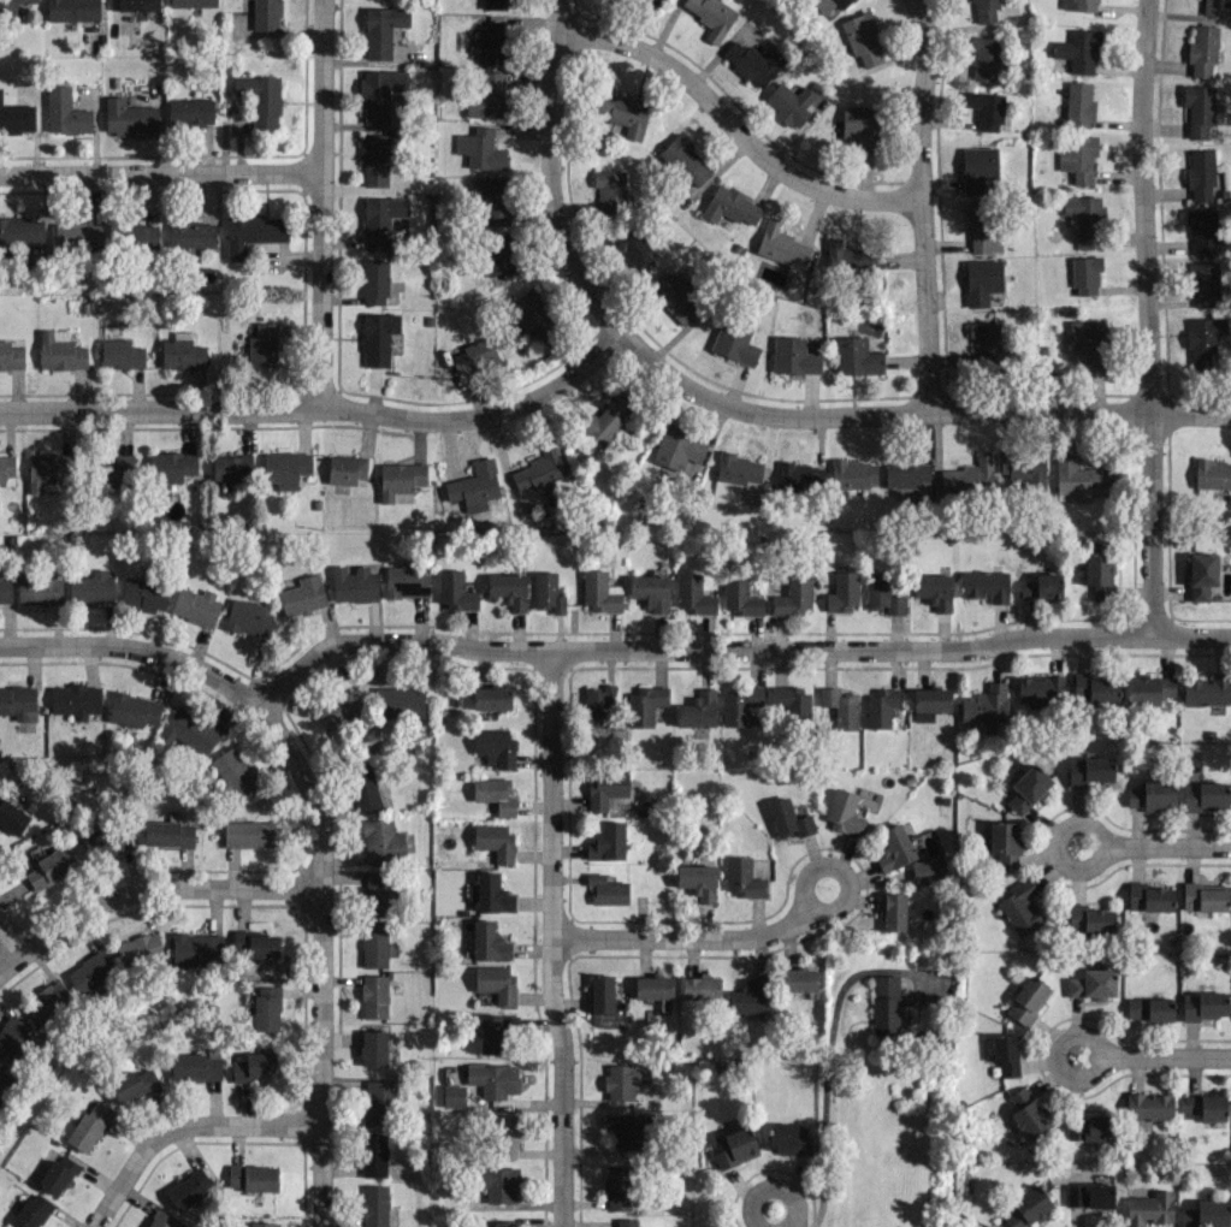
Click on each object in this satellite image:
building: (655, 1)
building: (193, 2)
building: (495, 4)
building: (830, 4)
building: (137, 5)
building: (1078, 5)
building: (10, 6)
building: (1211, 6)
building: (72, 10)
building: (984, 10)
building: (266, 14)
building: (711, 16)
building: (381, 29)
building: (860, 37)
building: (495, 41)
building: (1202, 49)
building: (1078, 51)
building: (983, 55)
building: (751, 61)
building: (486, 95)
building: (380, 96)
building: (260, 99)
building: (789, 102)
building: (1079, 105)
building: (986, 108)
building: (1199, 108)
building: (64, 111)
building: (190, 111)
building: (622, 112)
building: (128, 115)
building: (17, 117)
road: (732, 126)
building: (858, 126)
building: (480, 148)
building: (377, 156)
building: (1078, 158)
building: (682, 159)
building: (977, 167)
road: (548, 172)
road: (160, 173)
building: (1200, 173)
building: (610, 188)
building: (492, 197)
road: (320, 203)
road: (919, 203)
building: (730, 206)
building: (380, 219)
building: (1085, 219)
building: (983, 225)
building: (22, 230)
building: (253, 231)
building: (1202, 231)
building: (77, 233)
building: (191, 233)
building: (132, 235)
building: (632, 247)
building: (782, 247)
building: (499, 256)
building: (854, 269)
building: (1085, 275)
building: (373, 280)
building: (981, 280)
building: (1203, 283)
building: (676, 297)
building: (532, 316)
road: (1144, 316)
building: (378, 337)
building: (1072, 337)
building: (1203, 339)
building: (735, 340)
building: (984, 344)
building: (262, 345)
building: (60, 350)
building: (182, 351)
building: (120, 352)
building: (11, 355)
building: (794, 355)
building: (473, 356)
building: (856, 356)
road: (322, 408)
road: (907, 413)
building: (605, 420)
building: (676, 449)
building: (171, 466)
building: (1024, 466)
building: (114, 467)
building: (231, 467)
building: (6, 468)
building: (286, 468)
building: (539, 468)
building: (739, 468)
building: (347, 469)
building: (47, 470)
building: (1212, 473)
building: (853, 474)
building: (905, 474)
building: (799, 476)
building: (969, 476)
building: (400, 478)
building: (1075, 479)
building: (474, 485)
building: (1099, 574)
building: (1202, 575)
building: (407, 579)
building: (353, 583)
building: (986, 585)
building: (1041, 586)
building: (5, 588)
building: (91, 588)
building: (40, 589)
building: (455, 589)
building: (509, 589)
building: (877, 589)
building: (934, 589)
building: (599, 591)
building: (650, 591)
building: (842, 591)
building: (548, 592)
building: (143, 593)
building: (692, 594)
building: (302, 595)
building: (793, 595)
building: (740, 597)
building: (895, 604)
building: (196, 605)
building: (248, 616)
road: (135, 648)
road: (732, 650)
building: (1095, 687)
building: (1206, 689)
building: (1040, 690)
building: (1150, 690)
building: (491, 698)
building: (931, 698)
building: (75, 699)
building: (18, 701)
building: (398, 701)
building: (793, 701)
building: (599, 703)
building: (645, 704)
building: (984, 704)
building: (840, 706)
building: (740, 707)
building: (880, 707)
building: (134, 709)
building: (339, 709)
building: (698, 709)
building: (188, 730)
building: (496, 747)
building: (1089, 770)
building: (232, 775)
building: (1028, 787)
building: (365, 788)
building: (605, 788)
building: (495, 794)
building: (1207, 796)
building: (1152, 800)
building: (844, 812)
building: (12, 817)
building: (788, 818)
building: (168, 832)
building: (248, 834)
building: (383, 840)
building: (495, 840)
building: (608, 842)
building: (1002, 842)
building: (106, 843)
road: (1100, 846)
road: (1166, 847)
building: (894, 848)
building: (52, 866)
road: (834, 867)
building: (927, 871)
building: (742, 877)
building: (698, 881)
road: (148, 889)
building: (606, 889)
building: (379, 893)
building: (491, 893)
building: (1205, 896)
building: (1152, 899)
building: (1020, 908)
building: (893, 911)
building: (1089, 918)
road: (11, 937)
road: (548, 938)
road: (686, 938)
building: (489, 941)
building: (374, 944)
building: (256, 948)
building: (138, 949)
building: (197, 949)
road: (320, 958)
building: (91, 972)
building: (798, 979)
building: (496, 982)
building: (1091, 983)
building: (653, 986)
building: (700, 986)
building: (602, 992)
building: (374, 996)
building: (750, 998)
building: (1026, 1000)
building: (48, 1002)
building: (886, 1003)
building: (1205, 1004)
building: (266, 1007)
building: (1149, 1008)
building: (496, 1033)
building: (14, 1041)
building: (373, 1047)
building: (1006, 1053)
road: (1099, 1056)
road: (1165, 1056)
road: (828, 1061)
building: (255, 1065)
building: (194, 1066)
building: (2, 1079)
building: (493, 1079)
building: (625, 1079)
building: (132, 1084)
building: (454, 1095)
building: (378, 1102)
building: (1149, 1106)
building: (1206, 1106)
building: (1030, 1119)
building: (89, 1126)
road: (179, 1126)
building: (1088, 1127)
building: (628, 1128)
building: (503, 1136)
building: (787, 1139)
building: (735, 1146)
building: (373, 1155)
building: (58, 1174)
building: (251, 1176)
building: (498, 1182)
road: (769, 1186)
building: (617, 1187)
building: (188, 1189)
building: (1089, 1195)
building: (374, 1205)
building: (1026, 1208)
building: (1149, 1208)
building: (31, 1211)
building: (1206, 1214)
building: (161, 1220)
building: (628, 1222)
building: (262, 1223)
building: (502, 1223)

